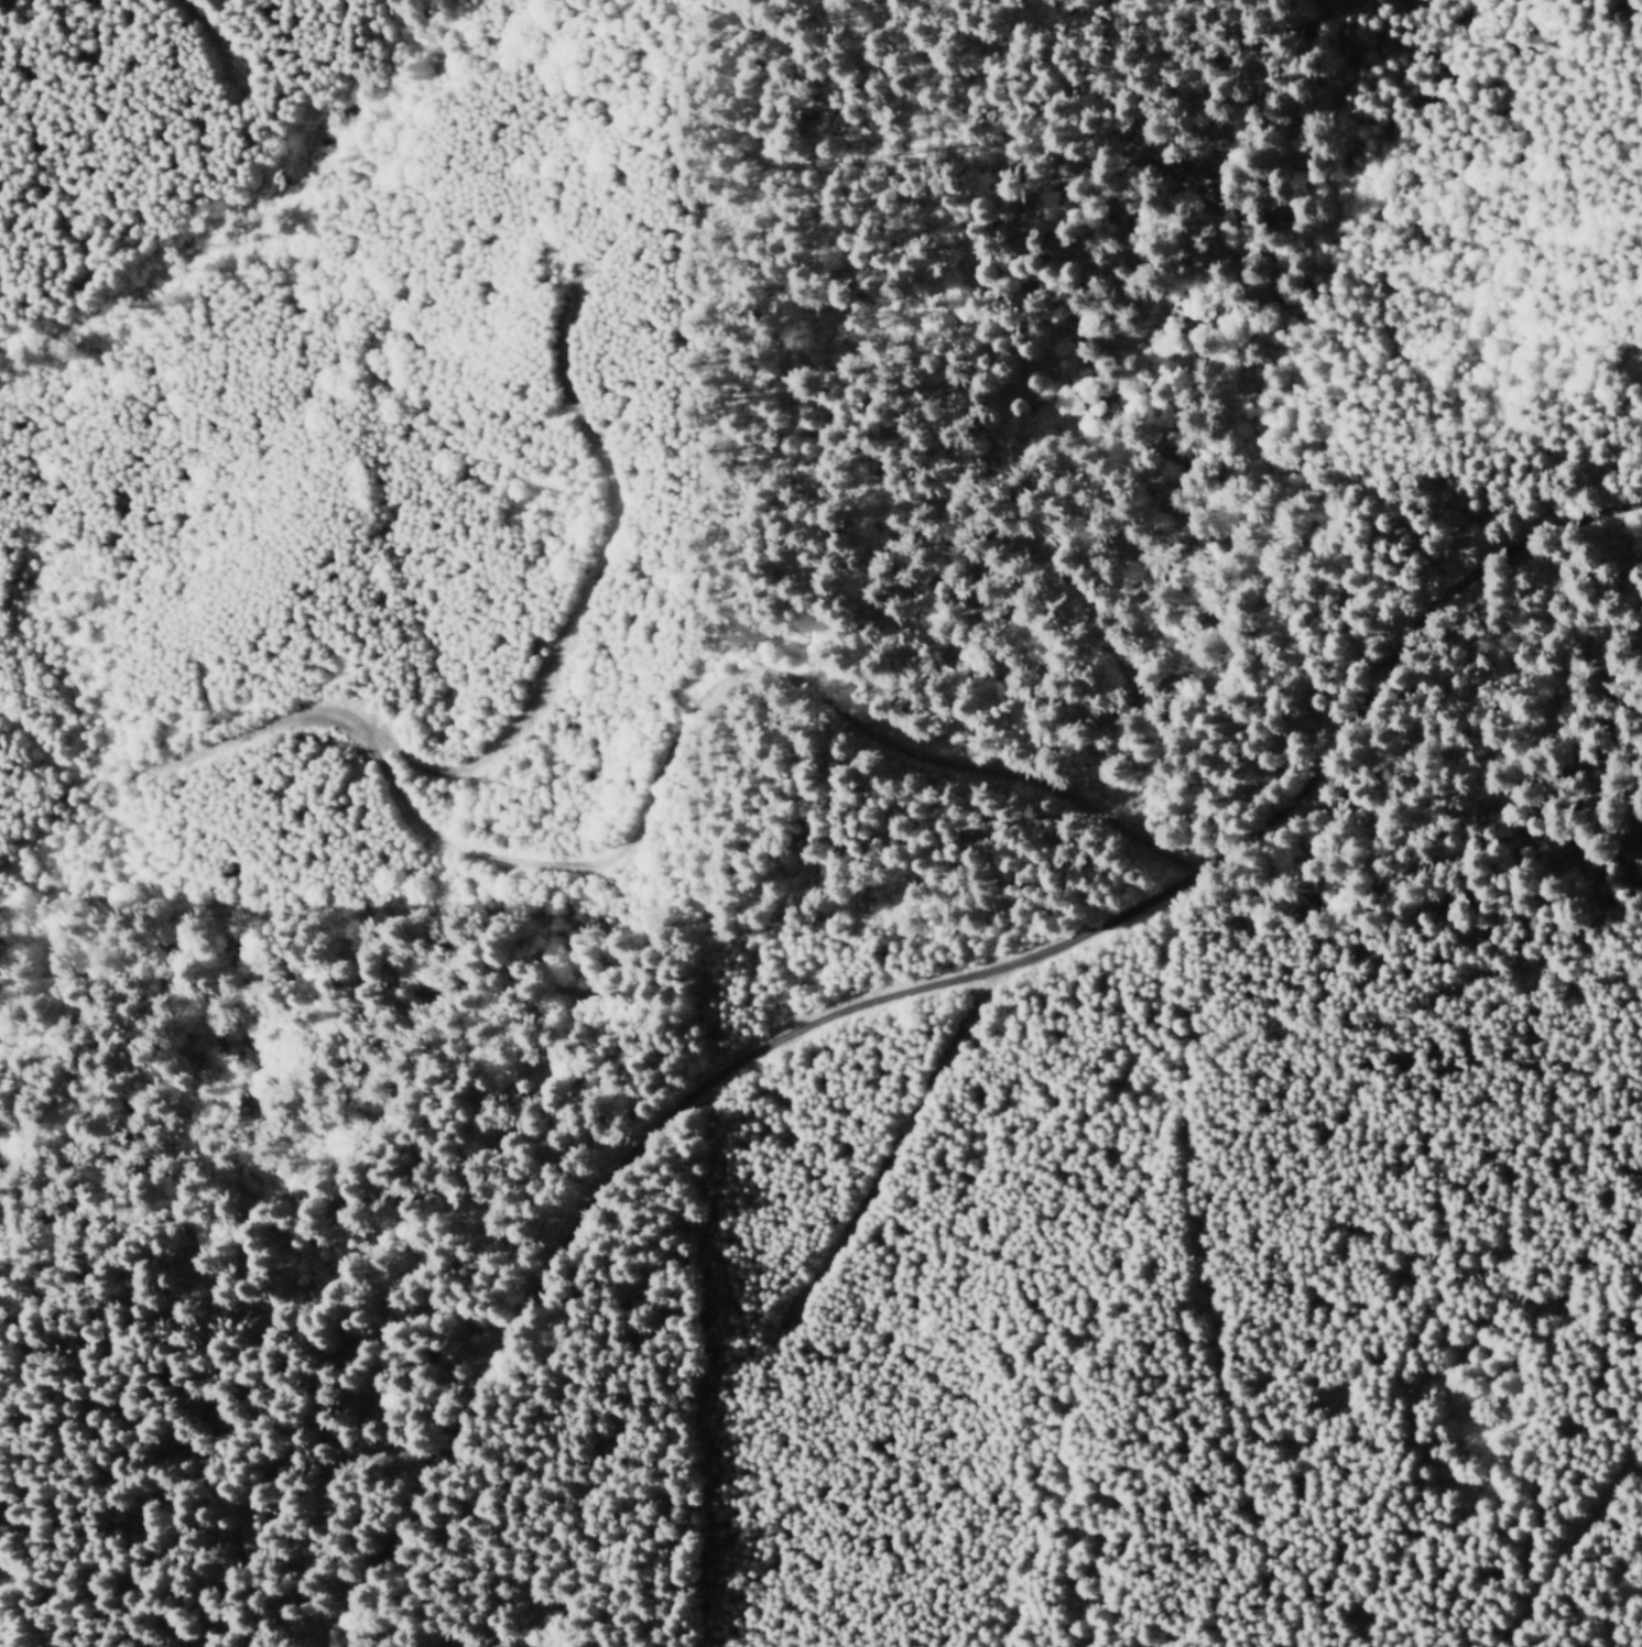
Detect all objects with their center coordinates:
road: (696, 809)

